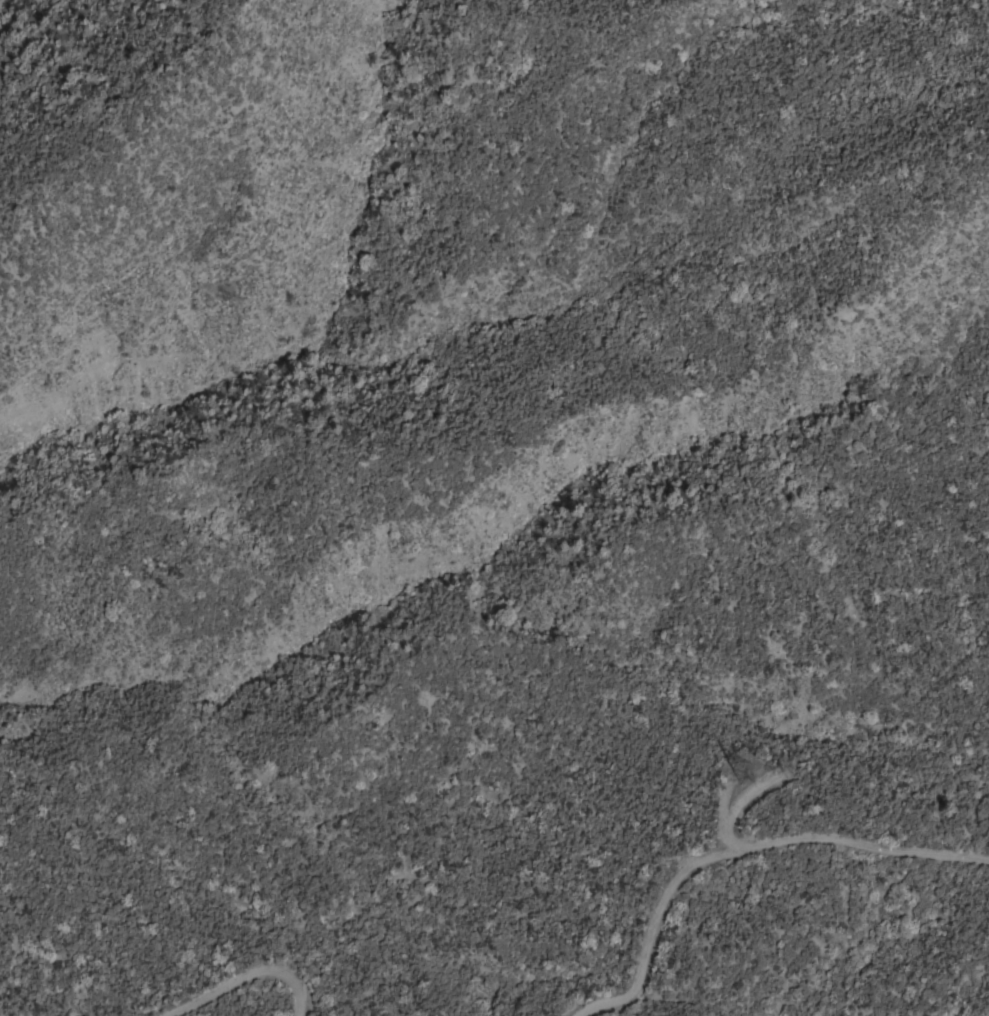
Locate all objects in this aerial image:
power tower: (743, 774)

